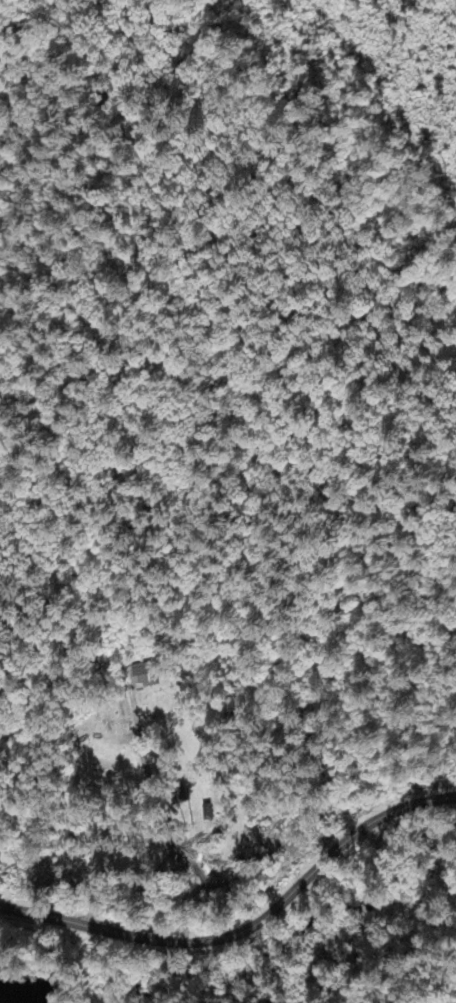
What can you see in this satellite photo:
building: (140, 678)
road: (247, 931)

